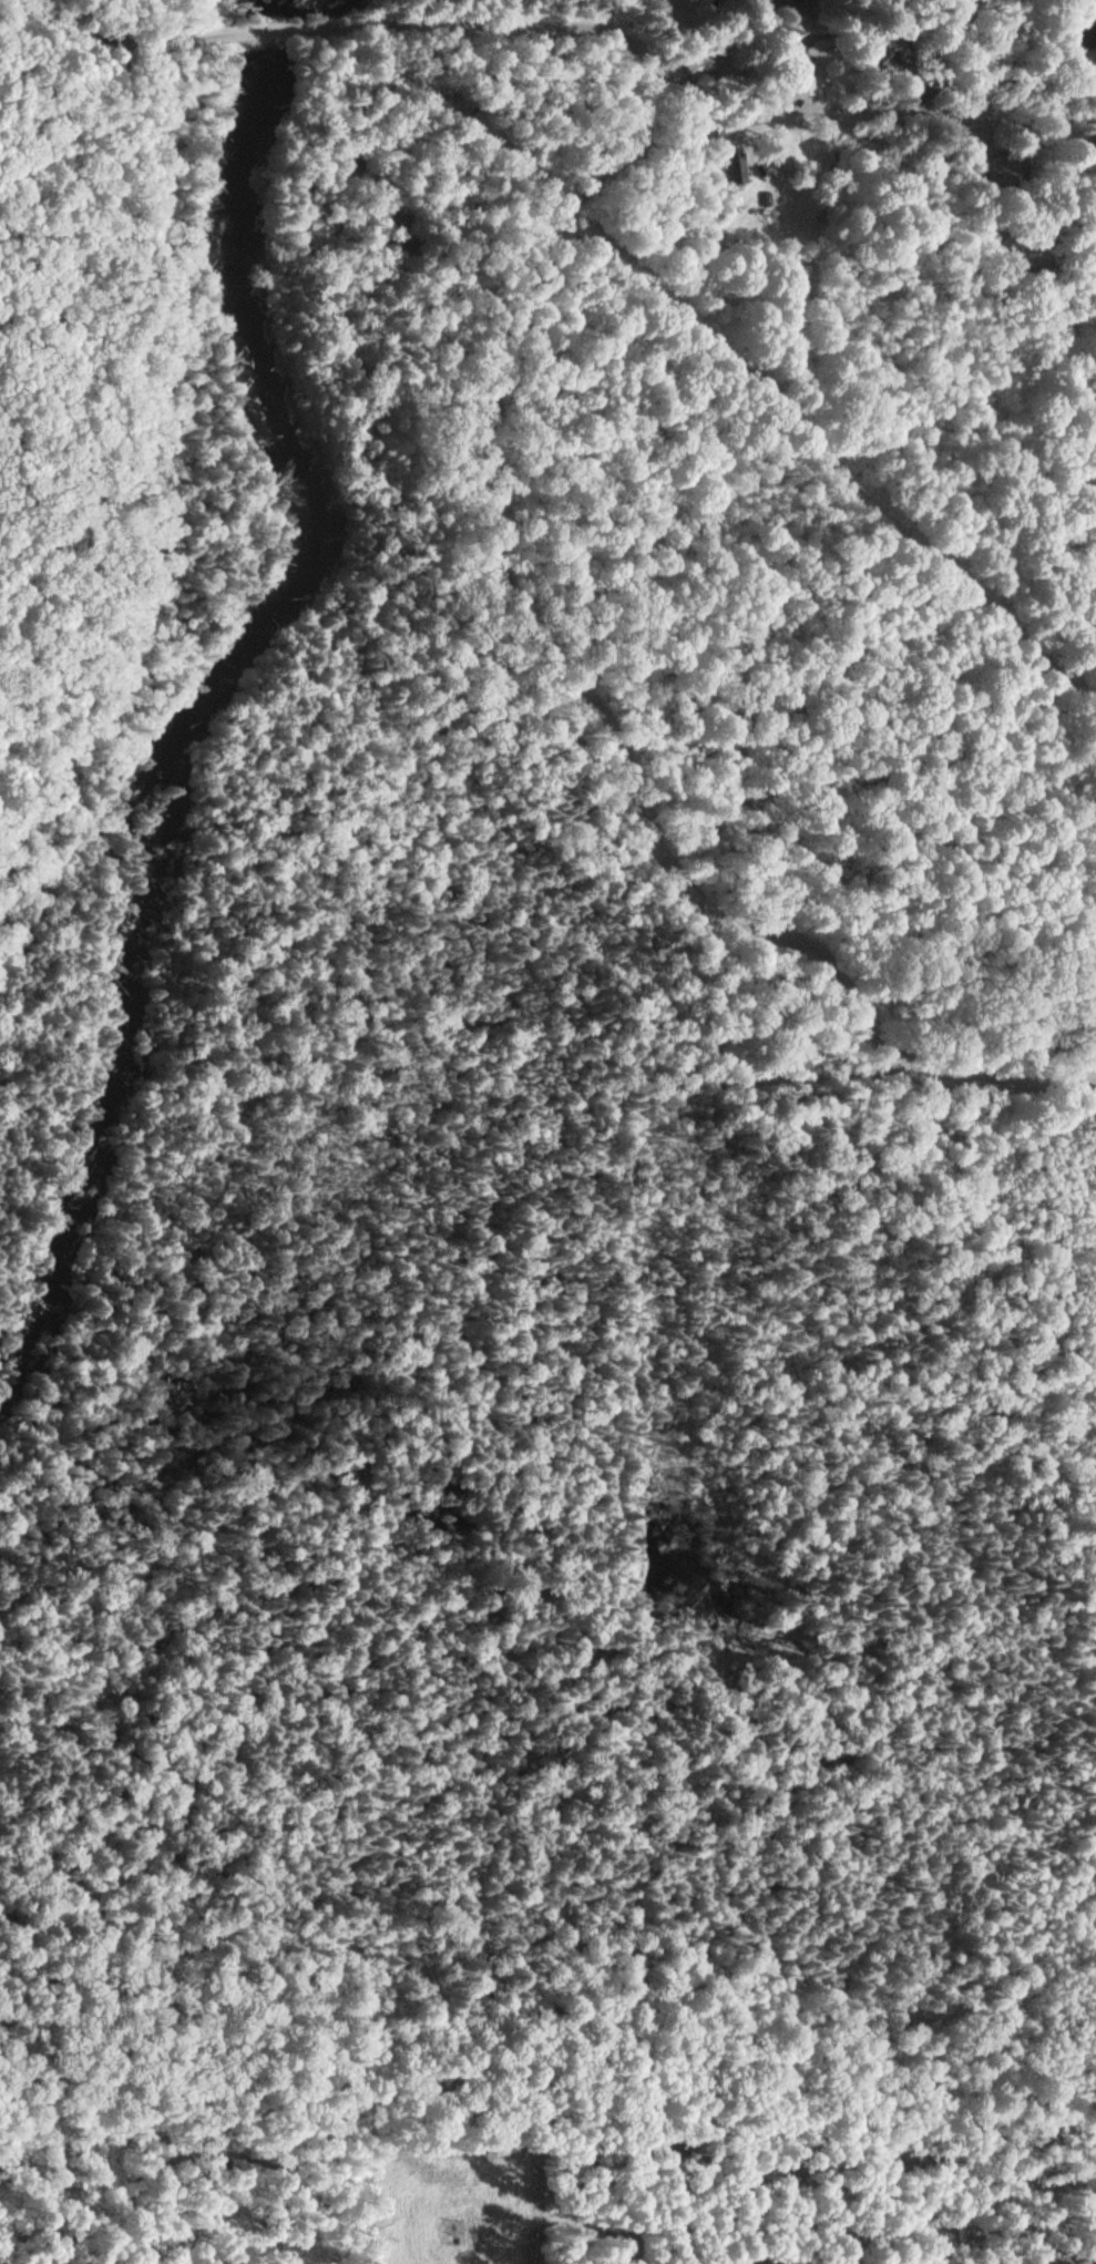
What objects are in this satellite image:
river: (269, 6)
road: (39, 18)
road: (340, 23)
river: (262, 30)
building: (1087, 37)
building: (824, 49)
building: (901, 54)
building: (700, 61)
building: (801, 78)
building: (930, 84)
road: (857, 113)
building: (939, 161)
building: (352, 162)
building: (731, 166)
building: (1005, 168)
building: (320, 229)
building: (400, 239)
river: (211, 682)
road: (588, 710)
road: (637, 1546)
road: (1073, 1666)

